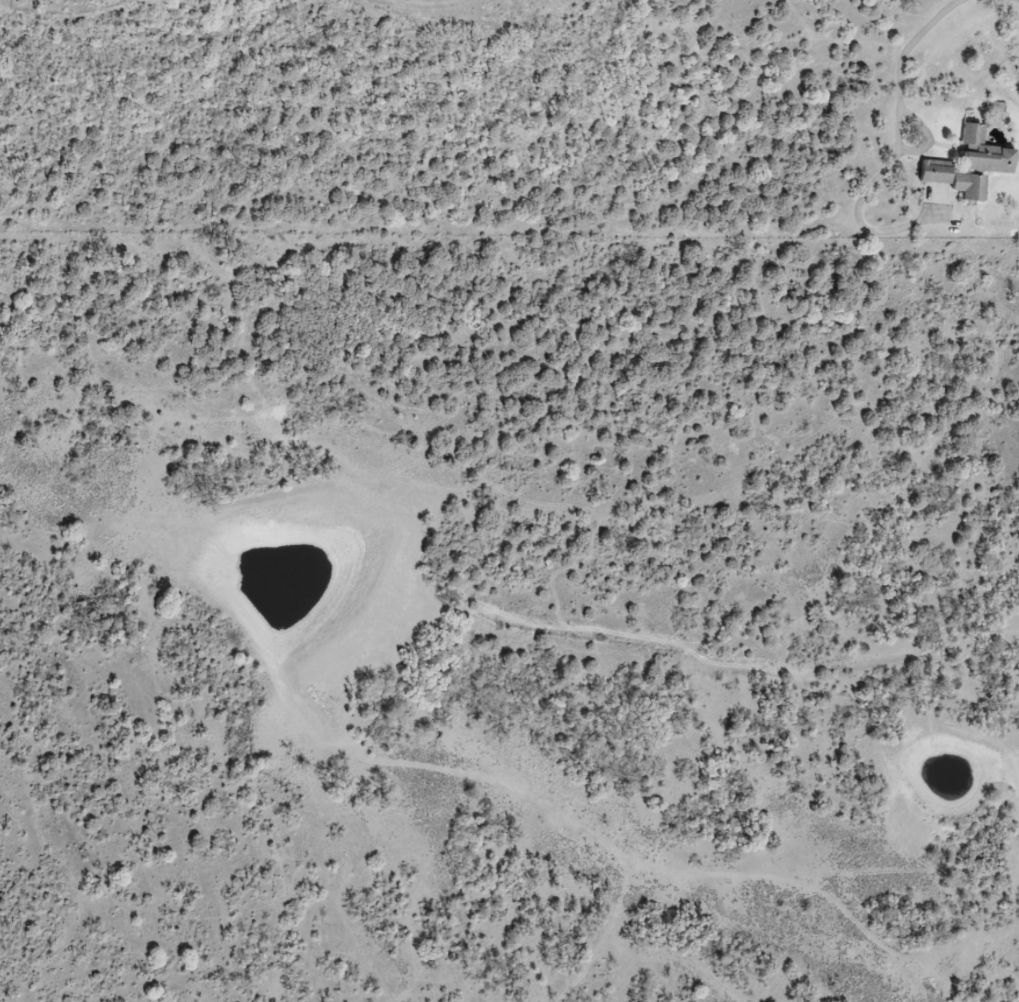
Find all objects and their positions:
road: (913, 43)
road: (922, 151)
building: (976, 163)
road: (867, 223)

